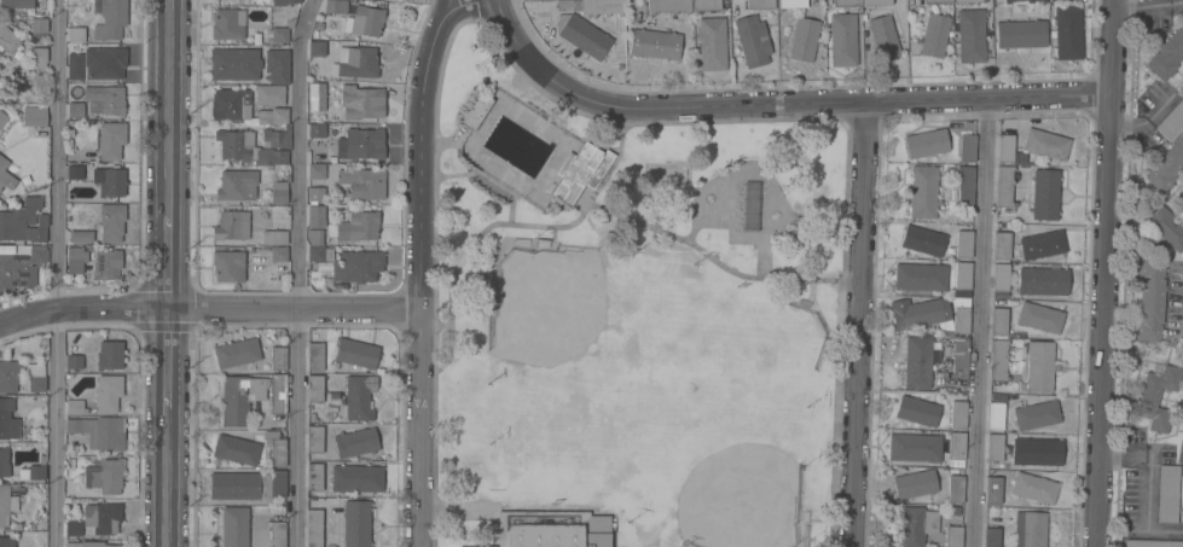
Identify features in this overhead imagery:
building: (390, 0)
building: (1062, 0)
building: (290, 1)
building: (935, 1)
building: (965, 1)
building: (1042, 1)
building: (847, 2)
building: (875, 2)
building: (1005, 2)
building: (16, 4)
building: (759, 4)
building: (791, 4)
building: (706, 5)
road: (1148, 5)
building: (335, 6)
building: (591, 6)
building: (668, 6)
road: (440, 12)
building: (110, 18)
building: (365, 21)
building: (228, 24)
building: (39, 25)
building: (1068, 33)
building: (1021, 34)
building: (76, 35)
building: (279, 35)
building: (582, 35)
building: (934, 35)
building: (970, 36)
building: (883, 37)
building: (7, 39)
building: (805, 40)
building: (842, 40)
building: (750, 41)
building: (712, 43)
building: (655, 45)
building: (317, 48)
building: (1167, 56)
building: (39, 58)
building: (104, 63)
building: (355, 63)
building: (234, 64)
building: (75, 66)
building: (278, 66)
building: (1182, 87)
building: (315, 94)
building: (269, 95)
building: (104, 100)
building: (361, 103)
building: (230, 104)
road: (778, 104)
road: (166, 109)
building: (75, 110)
building: (475, 111)
building: (34, 116)
building: (272, 116)
building: (2, 120)
building: (1171, 121)
building: (317, 130)
building: (277, 138)
building: (111, 140)
building: (364, 144)
building: (927, 144)
building: (1045, 144)
building: (237, 146)
building: (967, 149)
building: (1005, 149)
building: (276, 156)
building: (1166, 167)
building: (315, 171)
building: (75, 173)
building: (580, 173)
building: (6, 176)
building: (110, 181)
building: (363, 184)
building: (237, 185)
building: (965, 186)
building: (1004, 187)
building: (0, 190)
building: (923, 192)
building: (278, 193)
building: (315, 194)
building: (1045, 194)
building: (1179, 200)
building: (749, 209)
building: (315, 216)
building: (24, 222)
building: (111, 222)
building: (231, 226)
building: (358, 227)
building: (1165, 227)
building: (81, 237)
building: (314, 237)
building: (273, 238)
building: (923, 240)
building: (963, 244)
building: (1001, 245)
building: (1043, 245)
building: (278, 254)
building: (319, 254)
road: (419, 258)
building: (75, 260)
road: (164, 263)
building: (106, 264)
building: (19, 266)
building: (228, 267)
building: (358, 267)
road: (296, 272)
road: (59, 273)
road: (1104, 273)
building: (962, 275)
building: (920, 277)
building: (1001, 277)
building: (1043, 281)
building: (1149, 301)
park: (545, 302)
road: (208, 308)
building: (918, 313)
building: (1039, 318)
building: (961, 320)
park: (631, 321)
building: (998, 321)
road: (980, 322)
road: (857, 325)
park: (702, 349)
building: (237, 353)
building: (355, 353)
building: (109, 355)
building: (315, 356)
building: (959, 357)
road: (163, 359)
building: (278, 359)
building: (997, 360)
building: (74, 362)
building: (917, 362)
building: (1039, 366)
building: (8, 377)
building: (35, 378)
building: (314, 389)
building: (108, 394)
building: (277, 394)
building: (1156, 397)
building: (356, 400)
building: (234, 401)
building: (74, 407)
building: (917, 412)
building: (958, 415)
building: (1037, 415)
building: (996, 417)
building: (261, 419)
building: (7, 420)
building: (99, 432)
building: (314, 440)
building: (355, 443)
building: (956, 446)
building: (274, 447)
building: (994, 447)
building: (915, 448)
building: (236, 450)
building: (1037, 452)
building: (1181, 453)
building: (5, 464)
building: (33, 471)
building: (105, 477)
building: (314, 477)
road: (162, 478)
building: (356, 478)
building: (914, 484)
road: (1150, 484)
building: (248, 485)
building: (1034, 488)
building: (955, 489)
building: (992, 490)
building: (1167, 494)
building: (6, 502)
building: (1182, 516)
building: (102, 518)
building: (355, 523)
building: (916, 525)
building: (234, 526)
building: (314, 528)
building: (73, 529)
building: (552, 529)
building: (1030, 529)
building: (277, 534)
building: (953, 536)
building: (991, 537)
building: (7, 541)
building: (1152, 543)
building: (88, 545)

